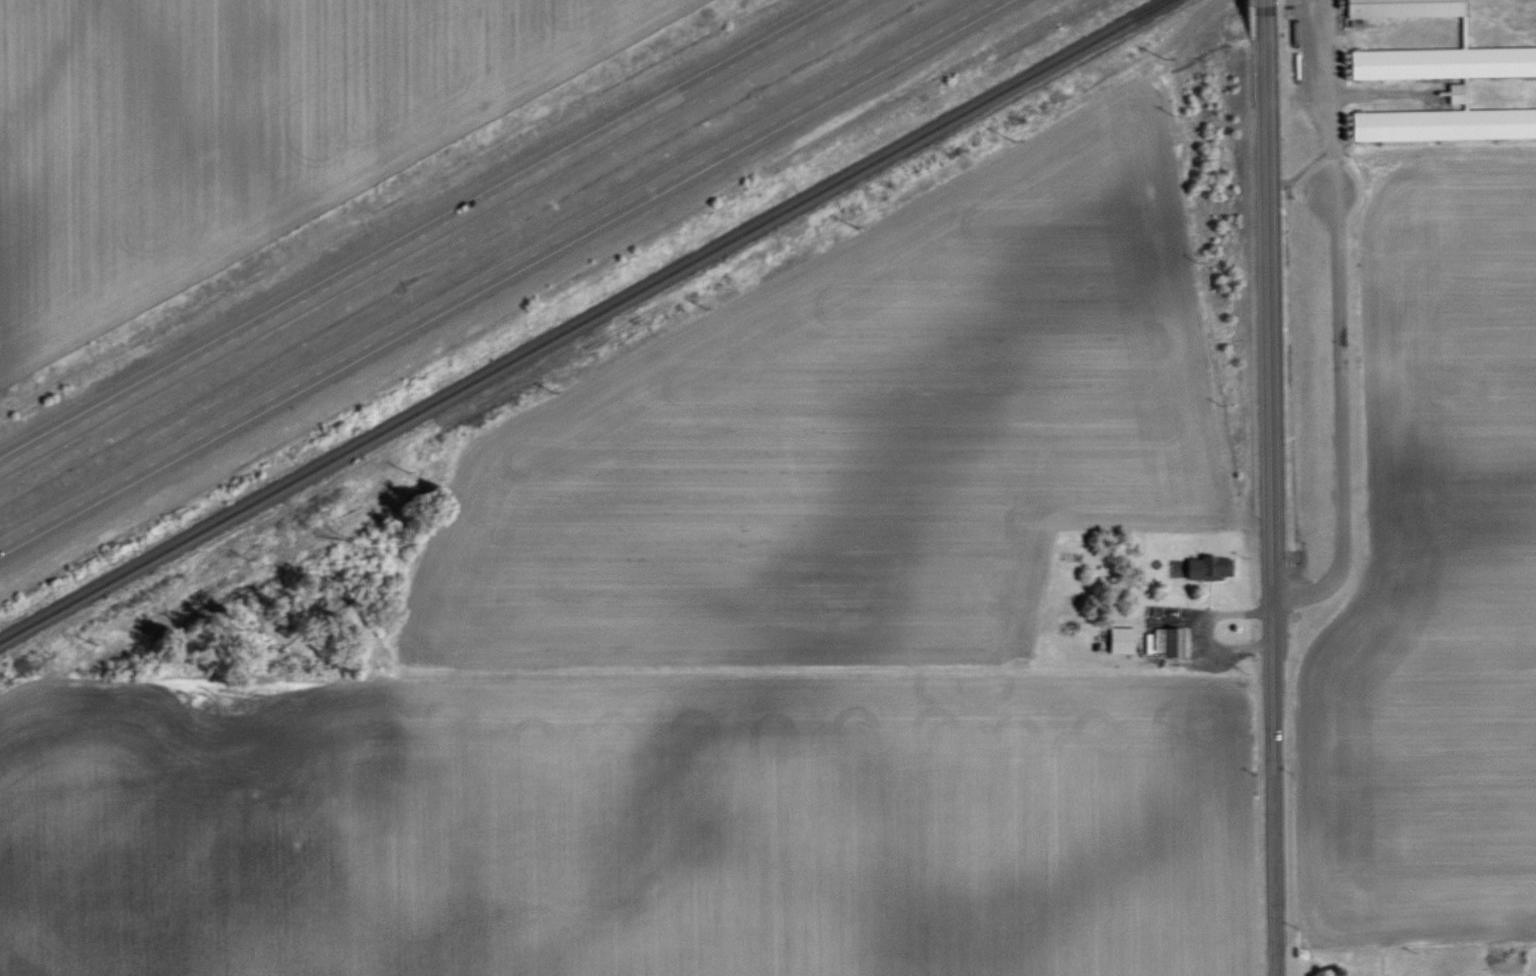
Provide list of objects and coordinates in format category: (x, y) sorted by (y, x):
building: (1403, 8)
building: (1455, 93)
road: (1327, 97)
building: (1445, 125)
road: (427, 234)
road: (499, 274)
railway: (587, 321)
road: (1337, 422)
road: (1269, 488)
building: (1211, 568)

